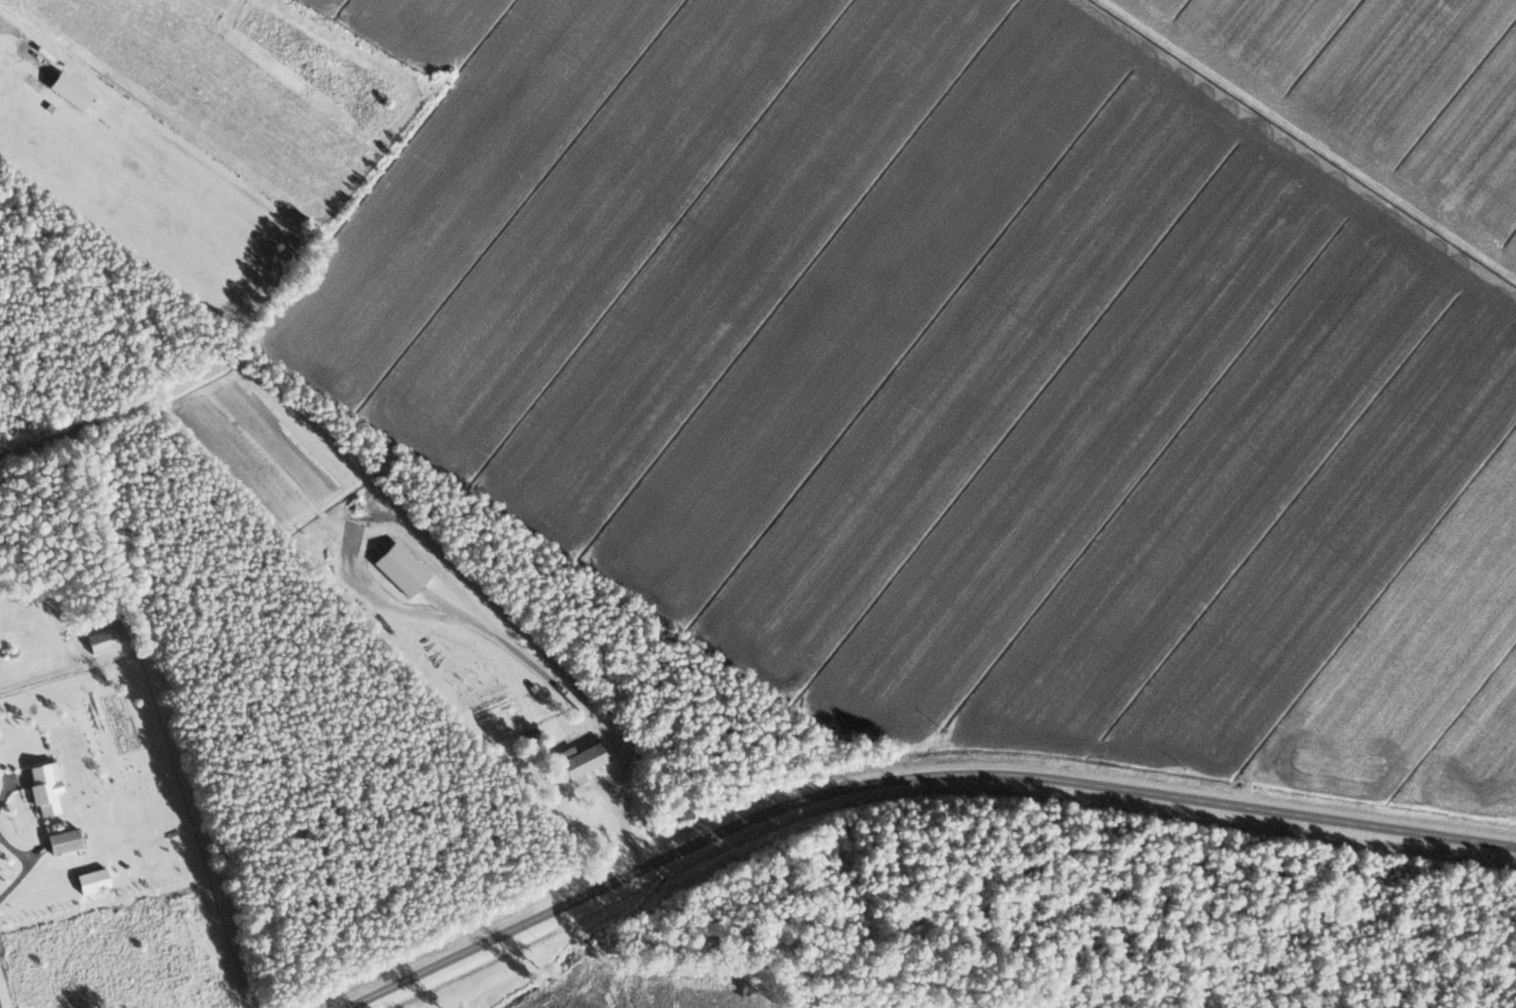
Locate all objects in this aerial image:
building: (69, 90)
building: (100, 642)
road: (46, 675)
building: (578, 762)
road: (906, 777)
building: (43, 791)
building: (64, 842)

